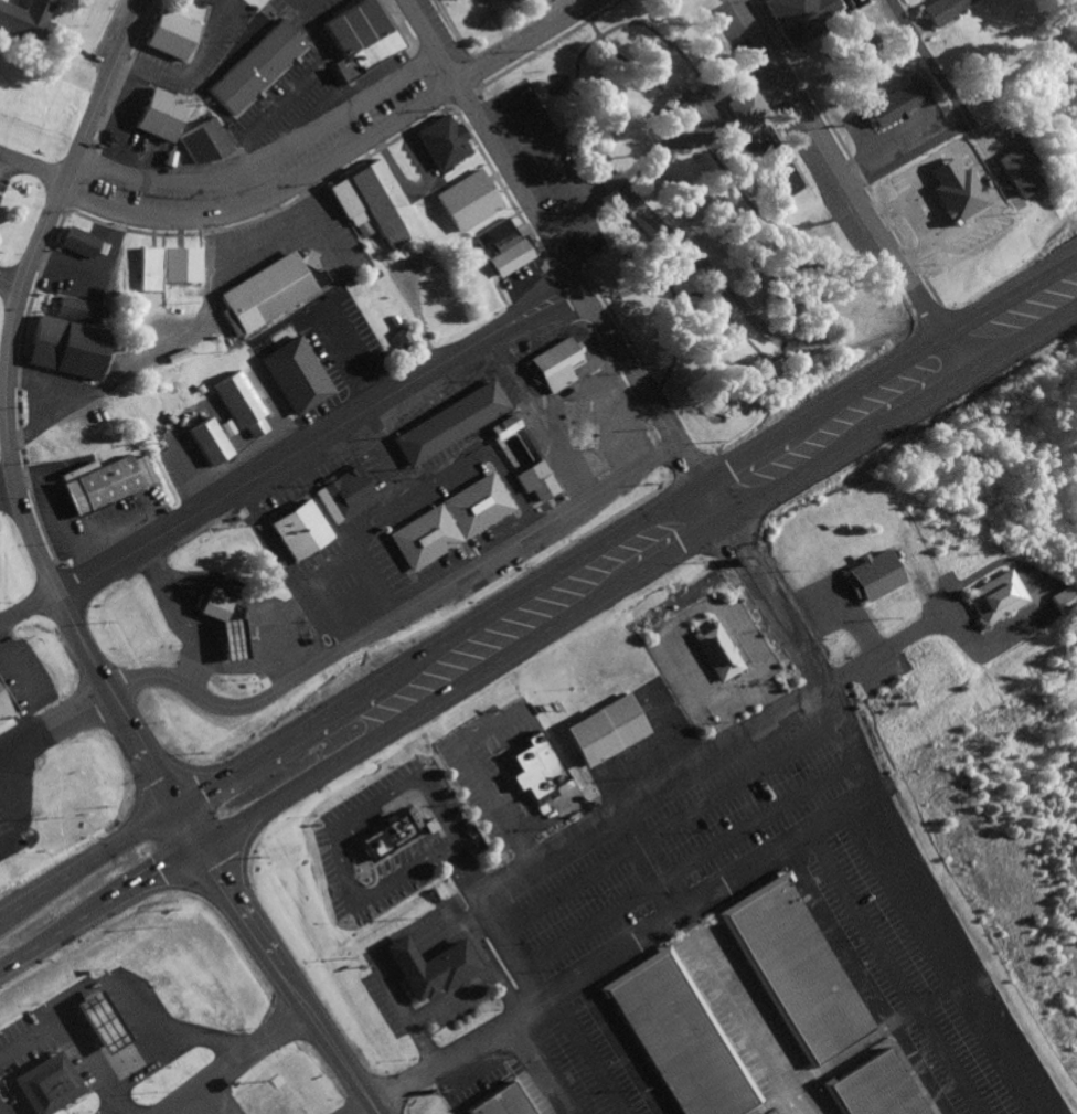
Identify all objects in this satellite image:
building: (503, 0)
building: (205, 2)
building: (936, 10)
building: (798, 17)
building: (23, 21)
building: (350, 26)
building: (166, 34)
parking lot: (731, 34)
building: (860, 47)
building: (362, 55)
building: (253, 66)
building: (893, 102)
road: (494, 103)
building: (743, 104)
building: (680, 112)
building: (157, 114)
road: (962, 115)
building: (438, 140)
building: (202, 144)
road: (538, 145)
road: (335, 155)
road: (30, 168)
road: (841, 168)
building: (1013, 169)
parking lot: (546, 171)
building: (372, 173)
parking lot: (822, 184)
building: (342, 198)
building: (465, 200)
building: (373, 208)
road: (562, 208)
building: (490, 232)
building: (500, 242)
road: (550, 242)
building: (76, 243)
building: (506, 257)
building: (178, 265)
road: (1060, 266)
building: (148, 269)
road: (9, 287)
building: (267, 290)
building: (73, 312)
building: (65, 348)
road: (953, 356)
building: (552, 359)
building: (291, 374)
building: (175, 393)
building: (237, 405)
road: (3, 412)
building: (508, 422)
building: (446, 424)
building: (205, 441)
road: (291, 458)
building: (533, 480)
building: (98, 485)
road: (1, 487)
building: (341, 495)
building: (447, 521)
building: (302, 526)
building: (282, 538)
road: (608, 541)
building: (868, 574)
road: (636, 579)
road: (757, 585)
building: (985, 596)
building: (1052, 600)
building: (214, 609)
road: (397, 613)
building: (231, 637)
building: (715, 650)
building: (3, 708)
building: (601, 729)
road: (19, 746)
building: (532, 775)
building: (0, 829)
road: (184, 831)
building: (385, 835)
road: (87, 864)
road: (508, 873)
road: (936, 898)
road: (97, 911)
building: (427, 967)
road: (287, 982)
road: (209, 1007)
building: (763, 1018)
building: (102, 1019)
building: (138, 1020)
road: (245, 1062)
building: (46, 1083)
building: (500, 1103)
road: (209, 1105)
road: (366, 1111)

